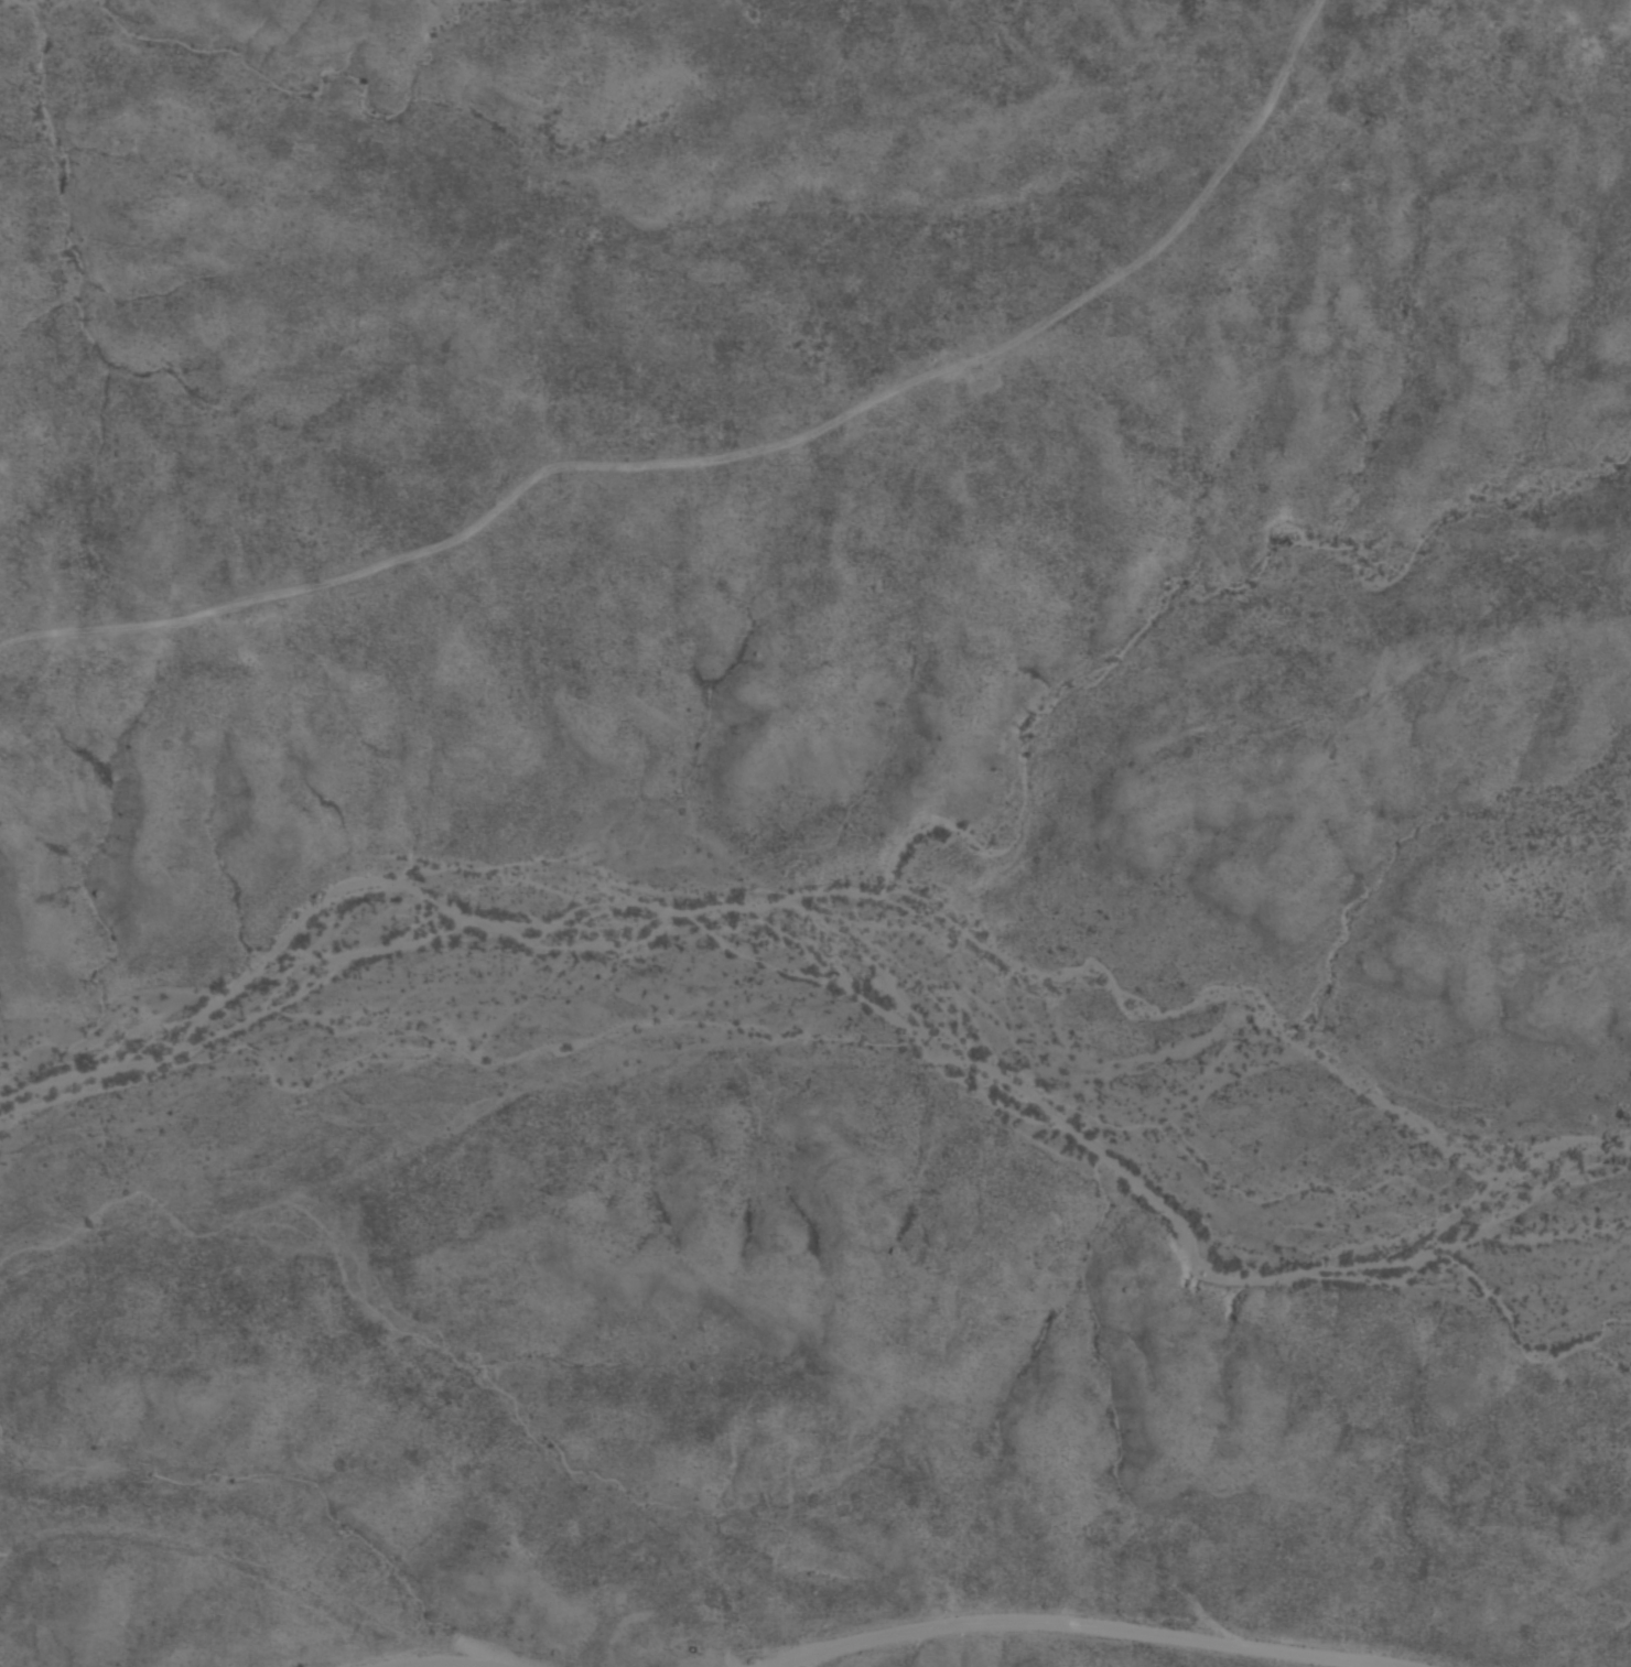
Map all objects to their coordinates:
road: (1092, 1634)
road: (410, 1657)

